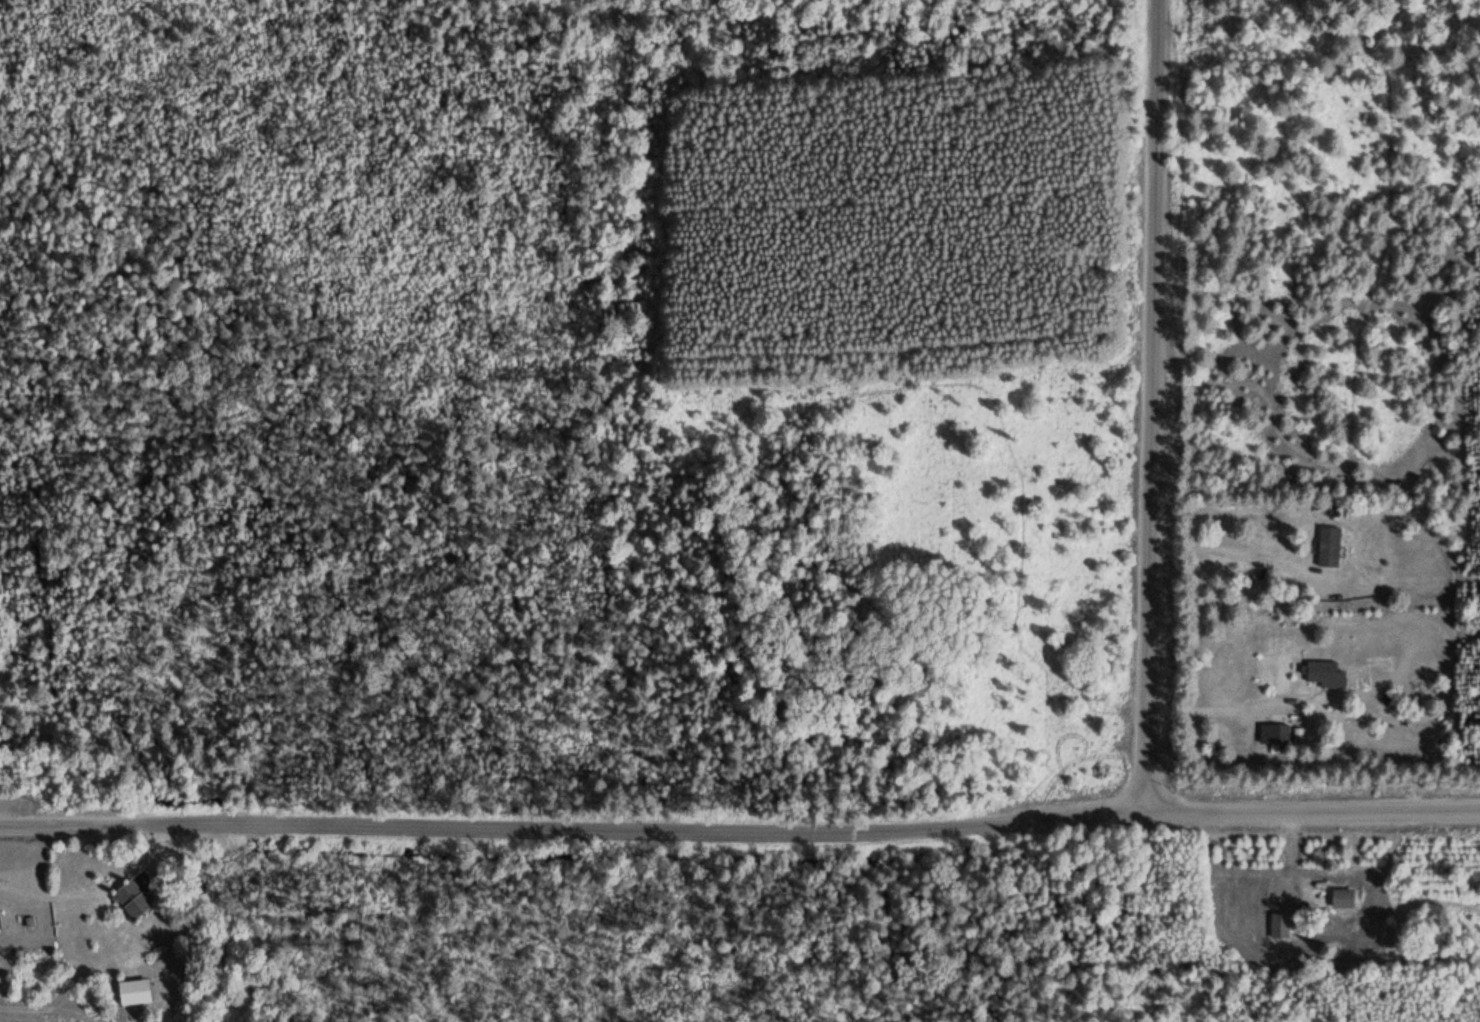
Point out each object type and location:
road: (1155, 270)
building: (1331, 508)
building: (1326, 545)
road: (1246, 550)
building: (1322, 673)
road: (1150, 678)
building: (1272, 733)
road: (740, 831)
building: (1340, 897)
building: (130, 898)
building: (1277, 924)
building: (131, 991)

